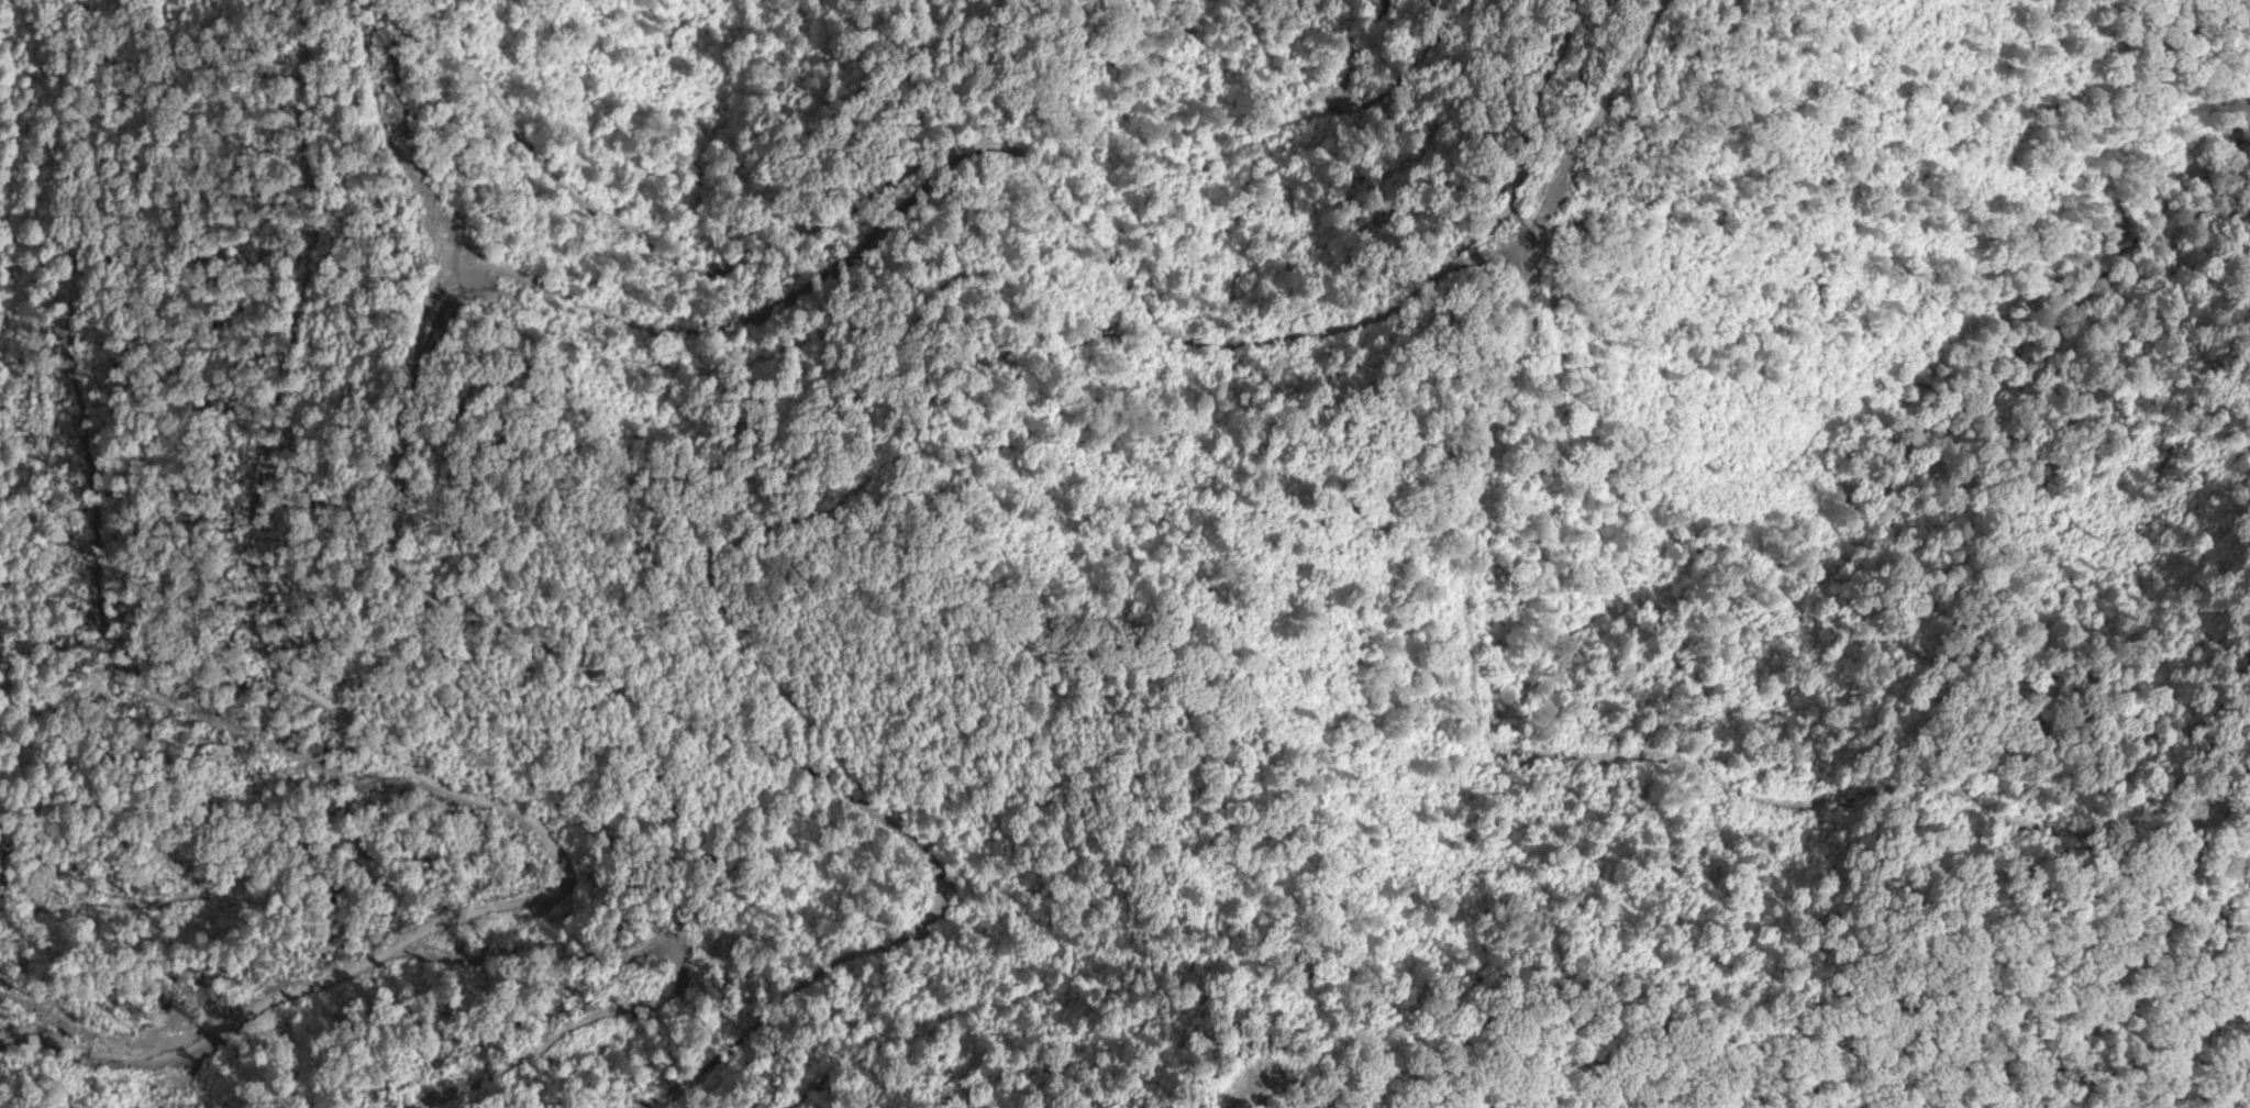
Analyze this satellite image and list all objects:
road: (7, 155)
road: (1072, 198)
road: (699, 854)

